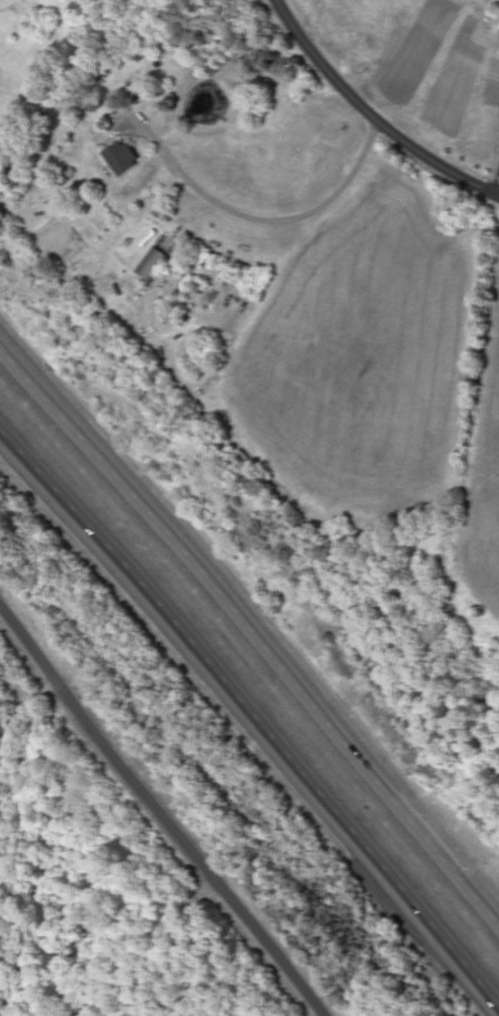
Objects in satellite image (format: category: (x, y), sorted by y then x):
road: (374, 114)
building: (123, 159)
building: (156, 266)
road: (249, 639)
road: (249, 718)
road: (163, 811)

